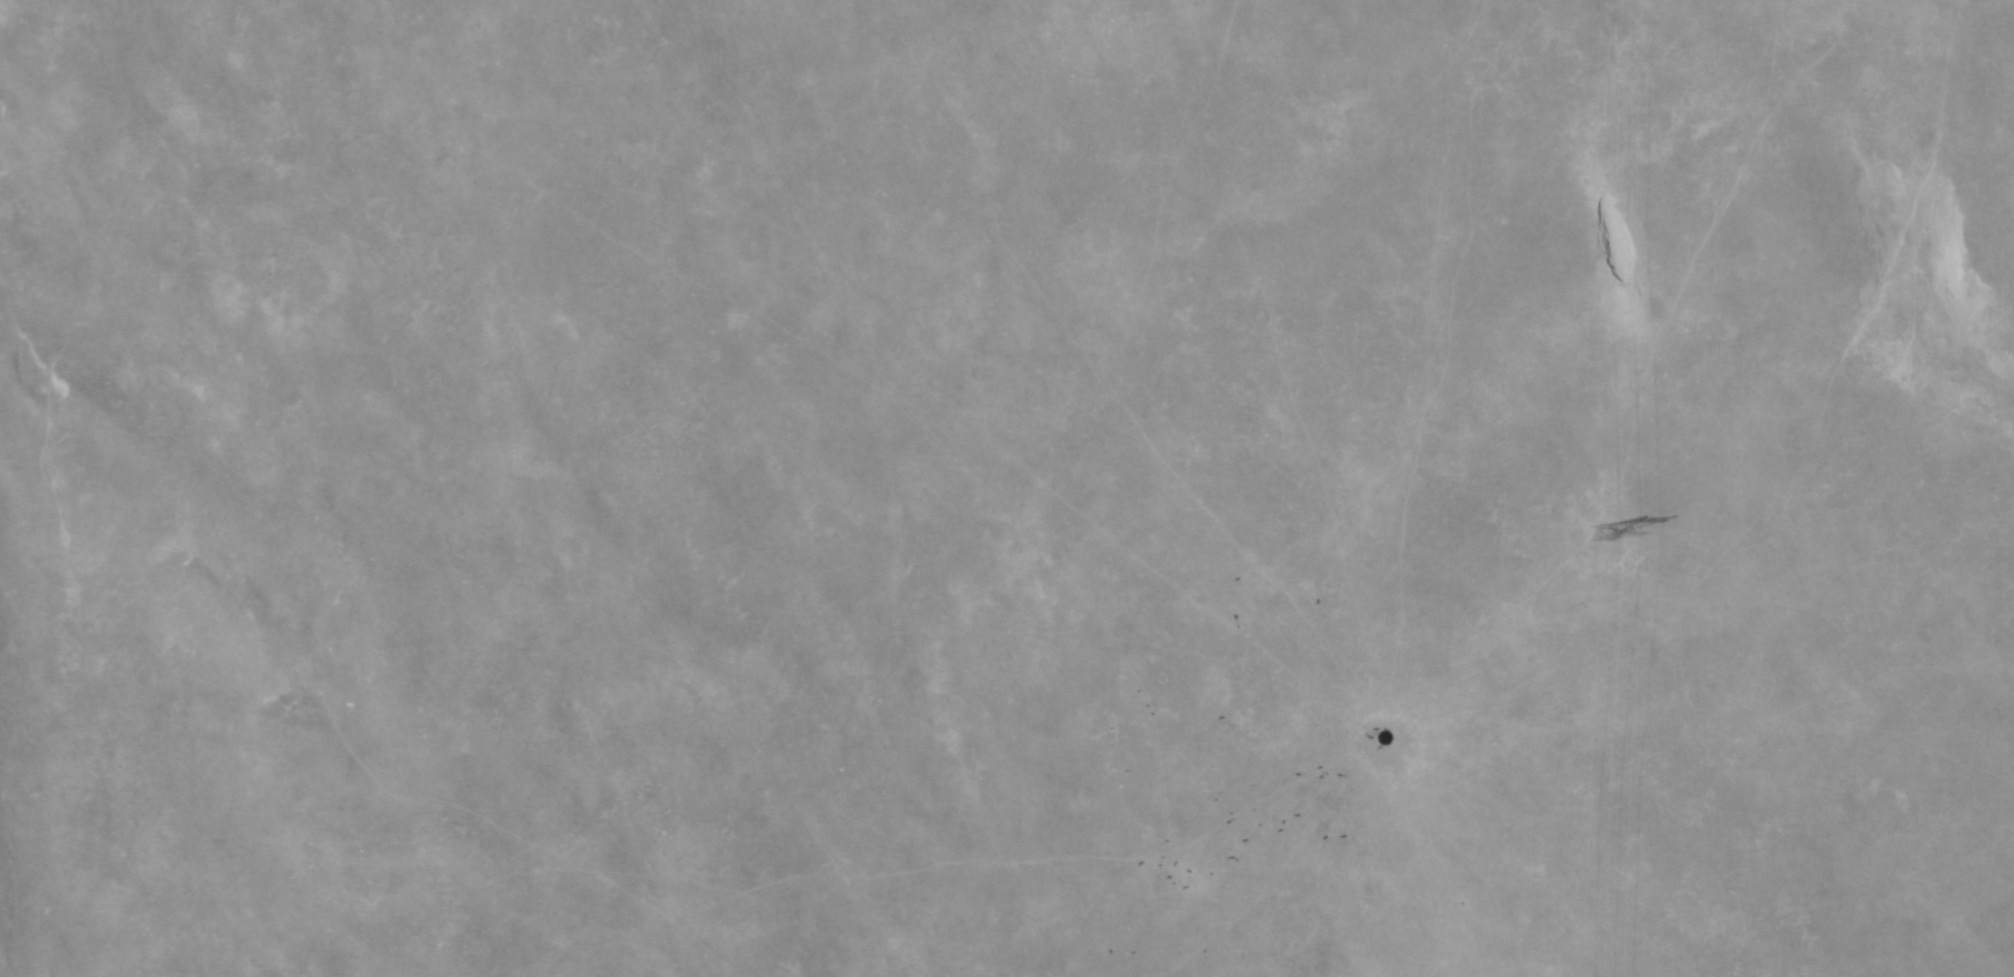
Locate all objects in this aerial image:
power tower: (1599, 535)

